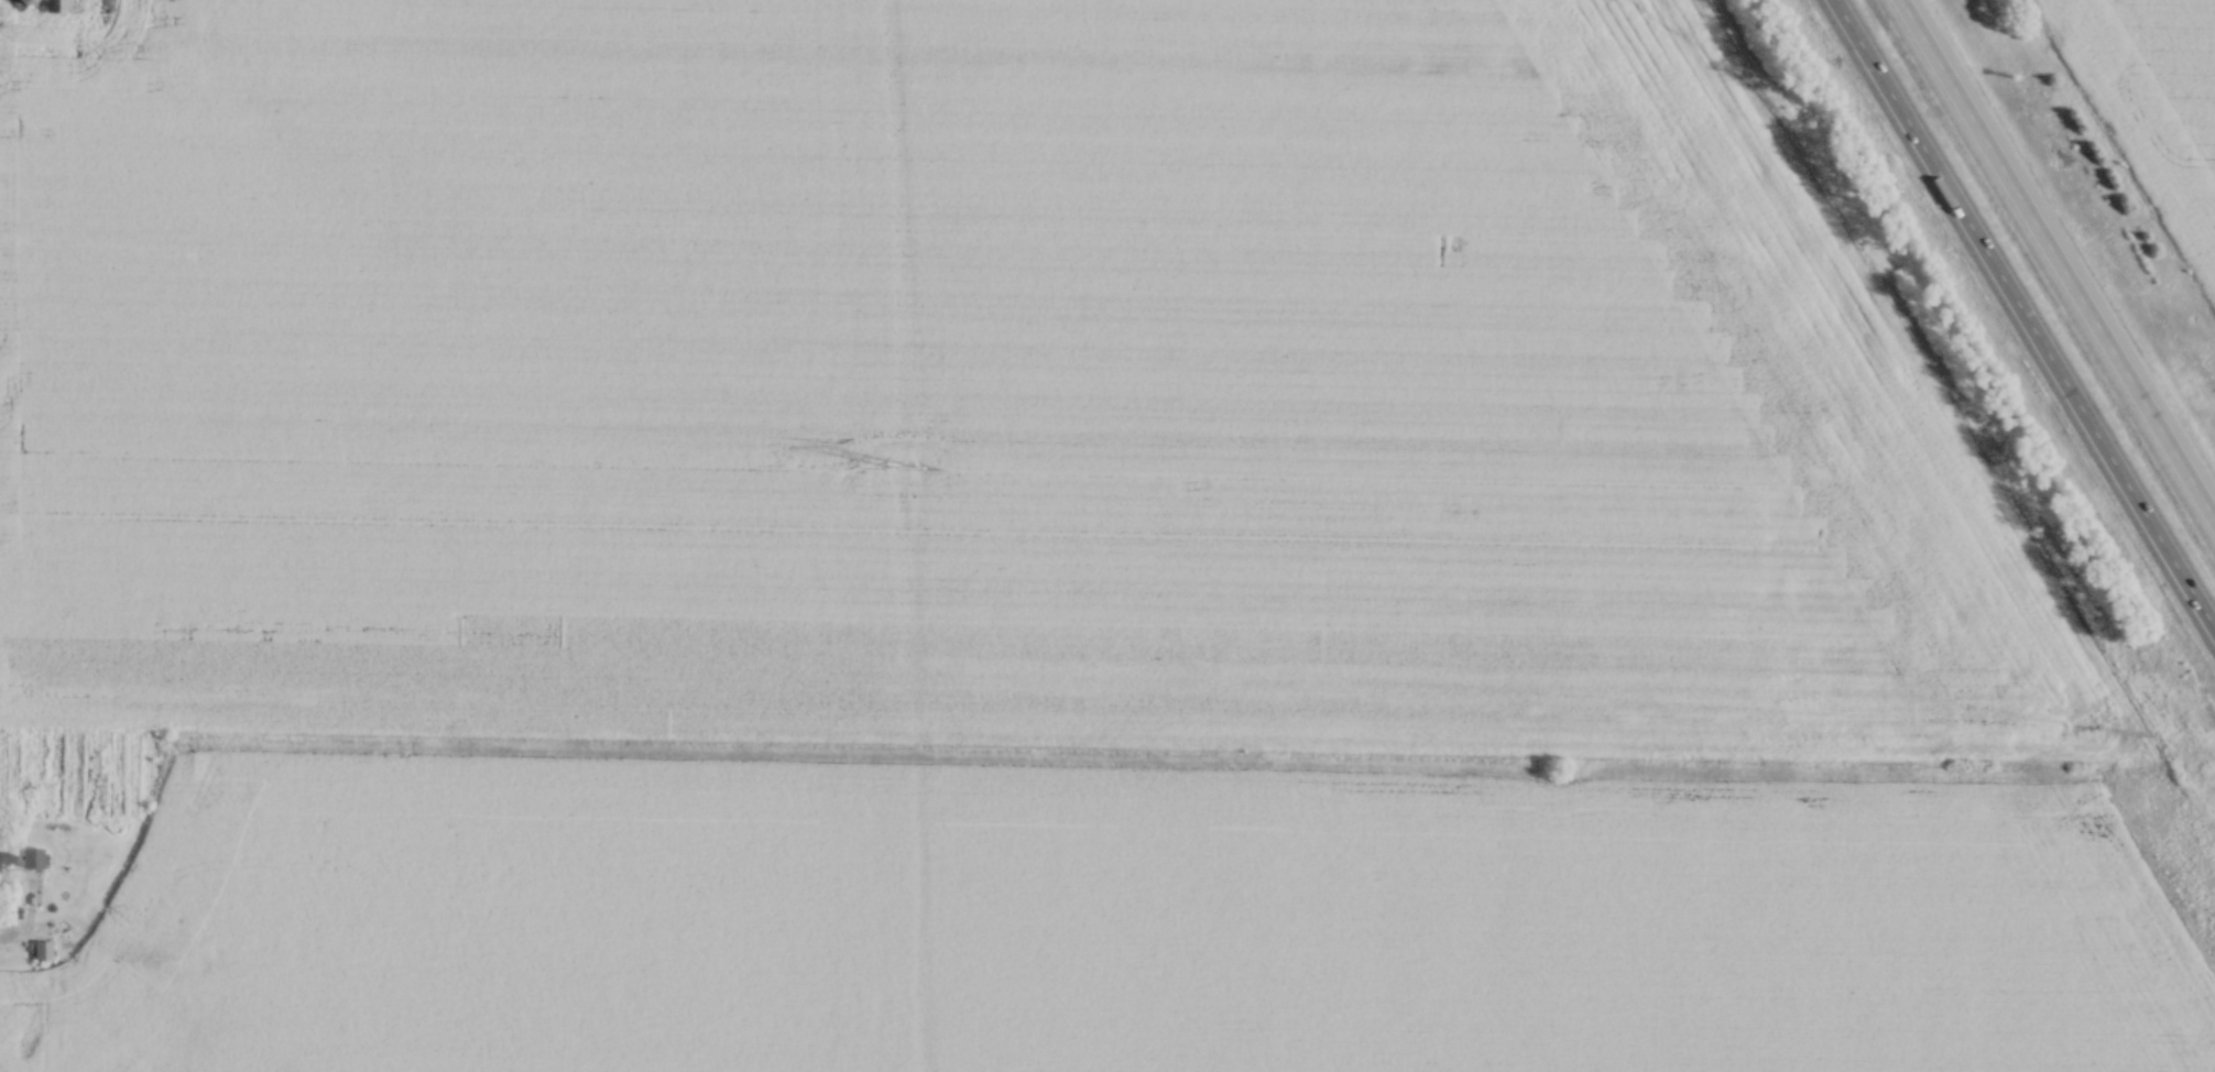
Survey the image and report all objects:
building: (26, 0)
building: (56, 6)
road: (2056, 260)
road: (2022, 316)
power tower: (898, 463)
building: (24, 856)
road: (20, 934)
building: (42, 948)

